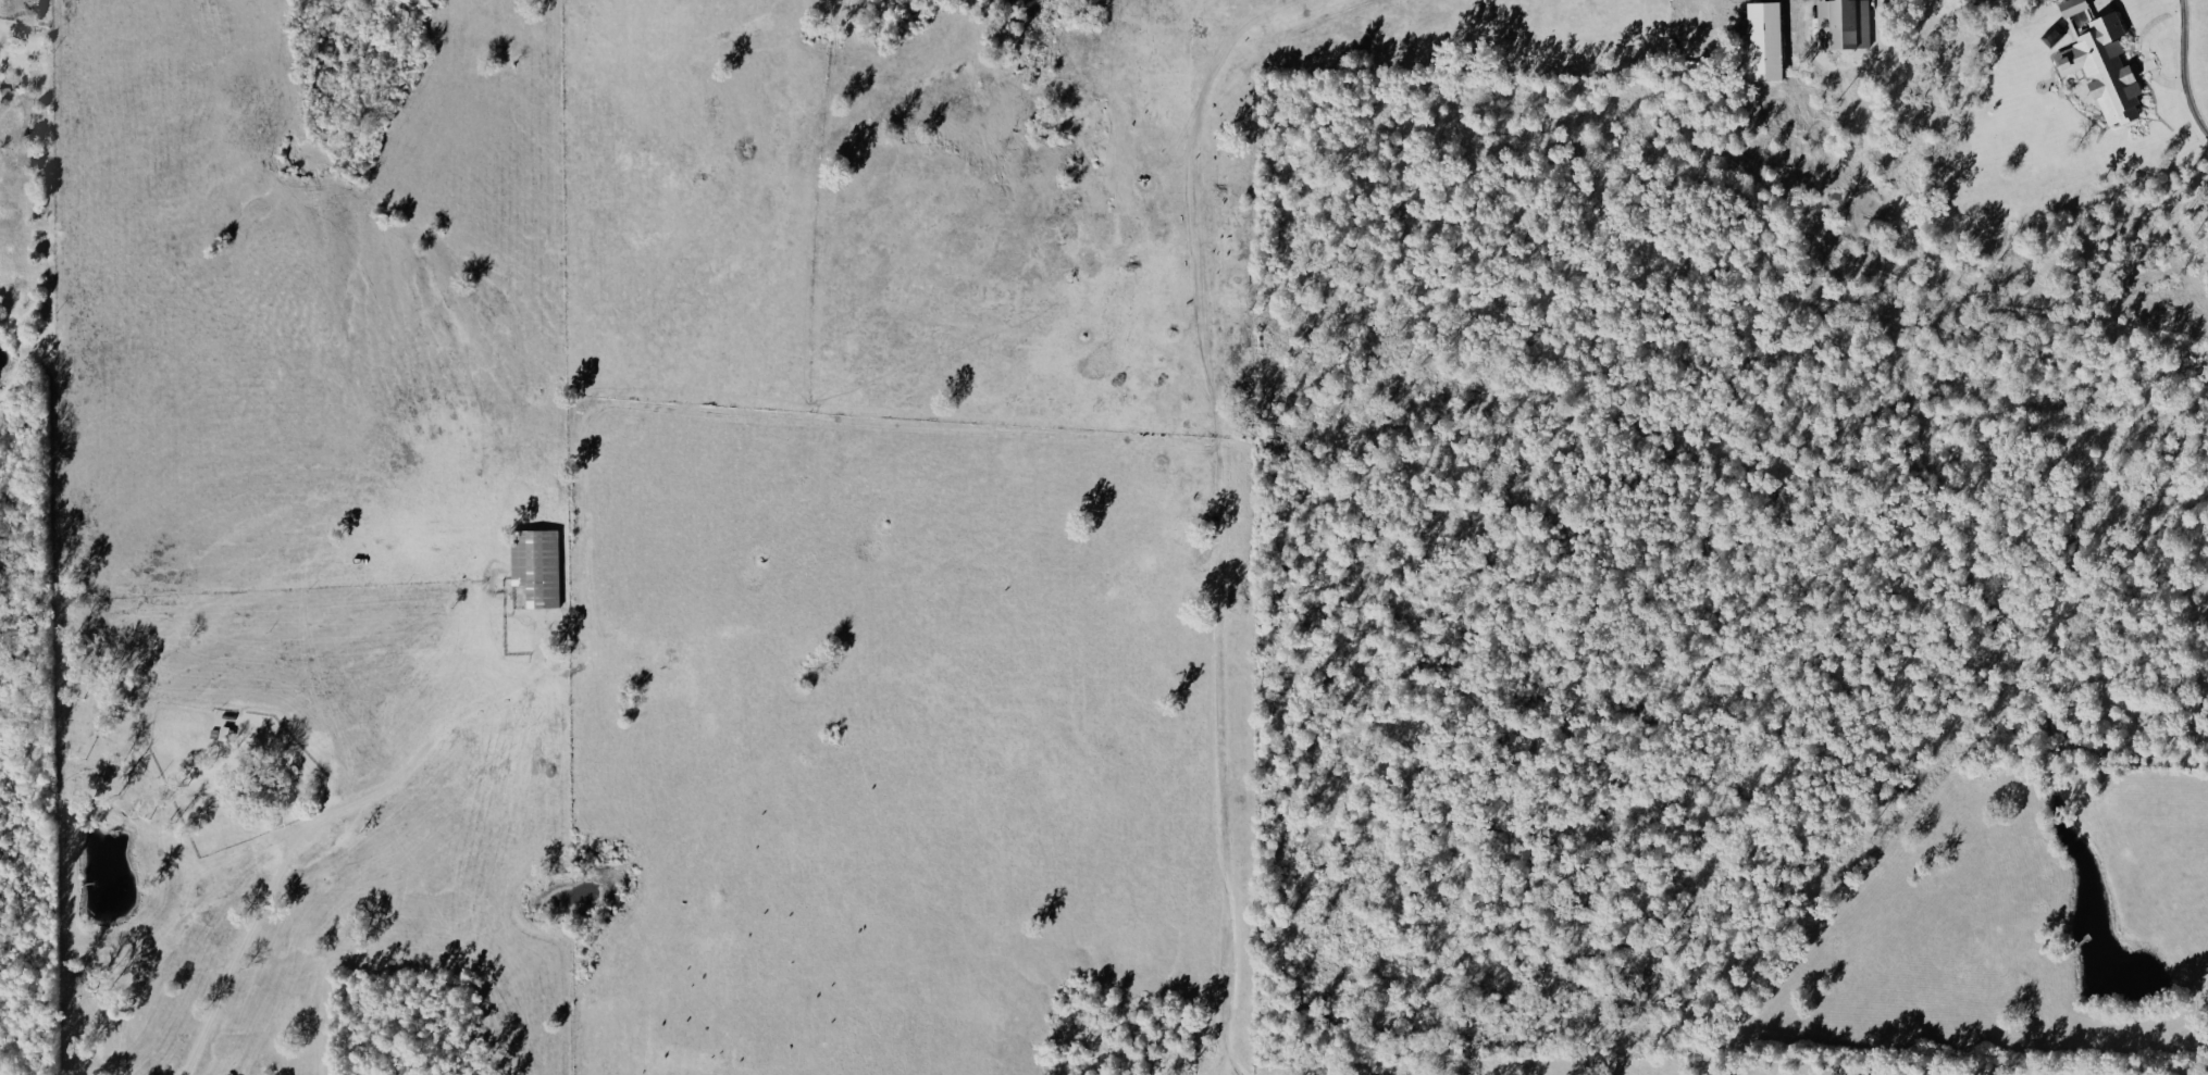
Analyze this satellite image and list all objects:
building: (2074, 7)
building: (1698, 23)
building: (1846, 24)
building: (1682, 25)
building: (1767, 40)
building: (2106, 67)
road: (2187, 97)
building: (537, 564)
building: (225, 732)
road: (320, 817)

